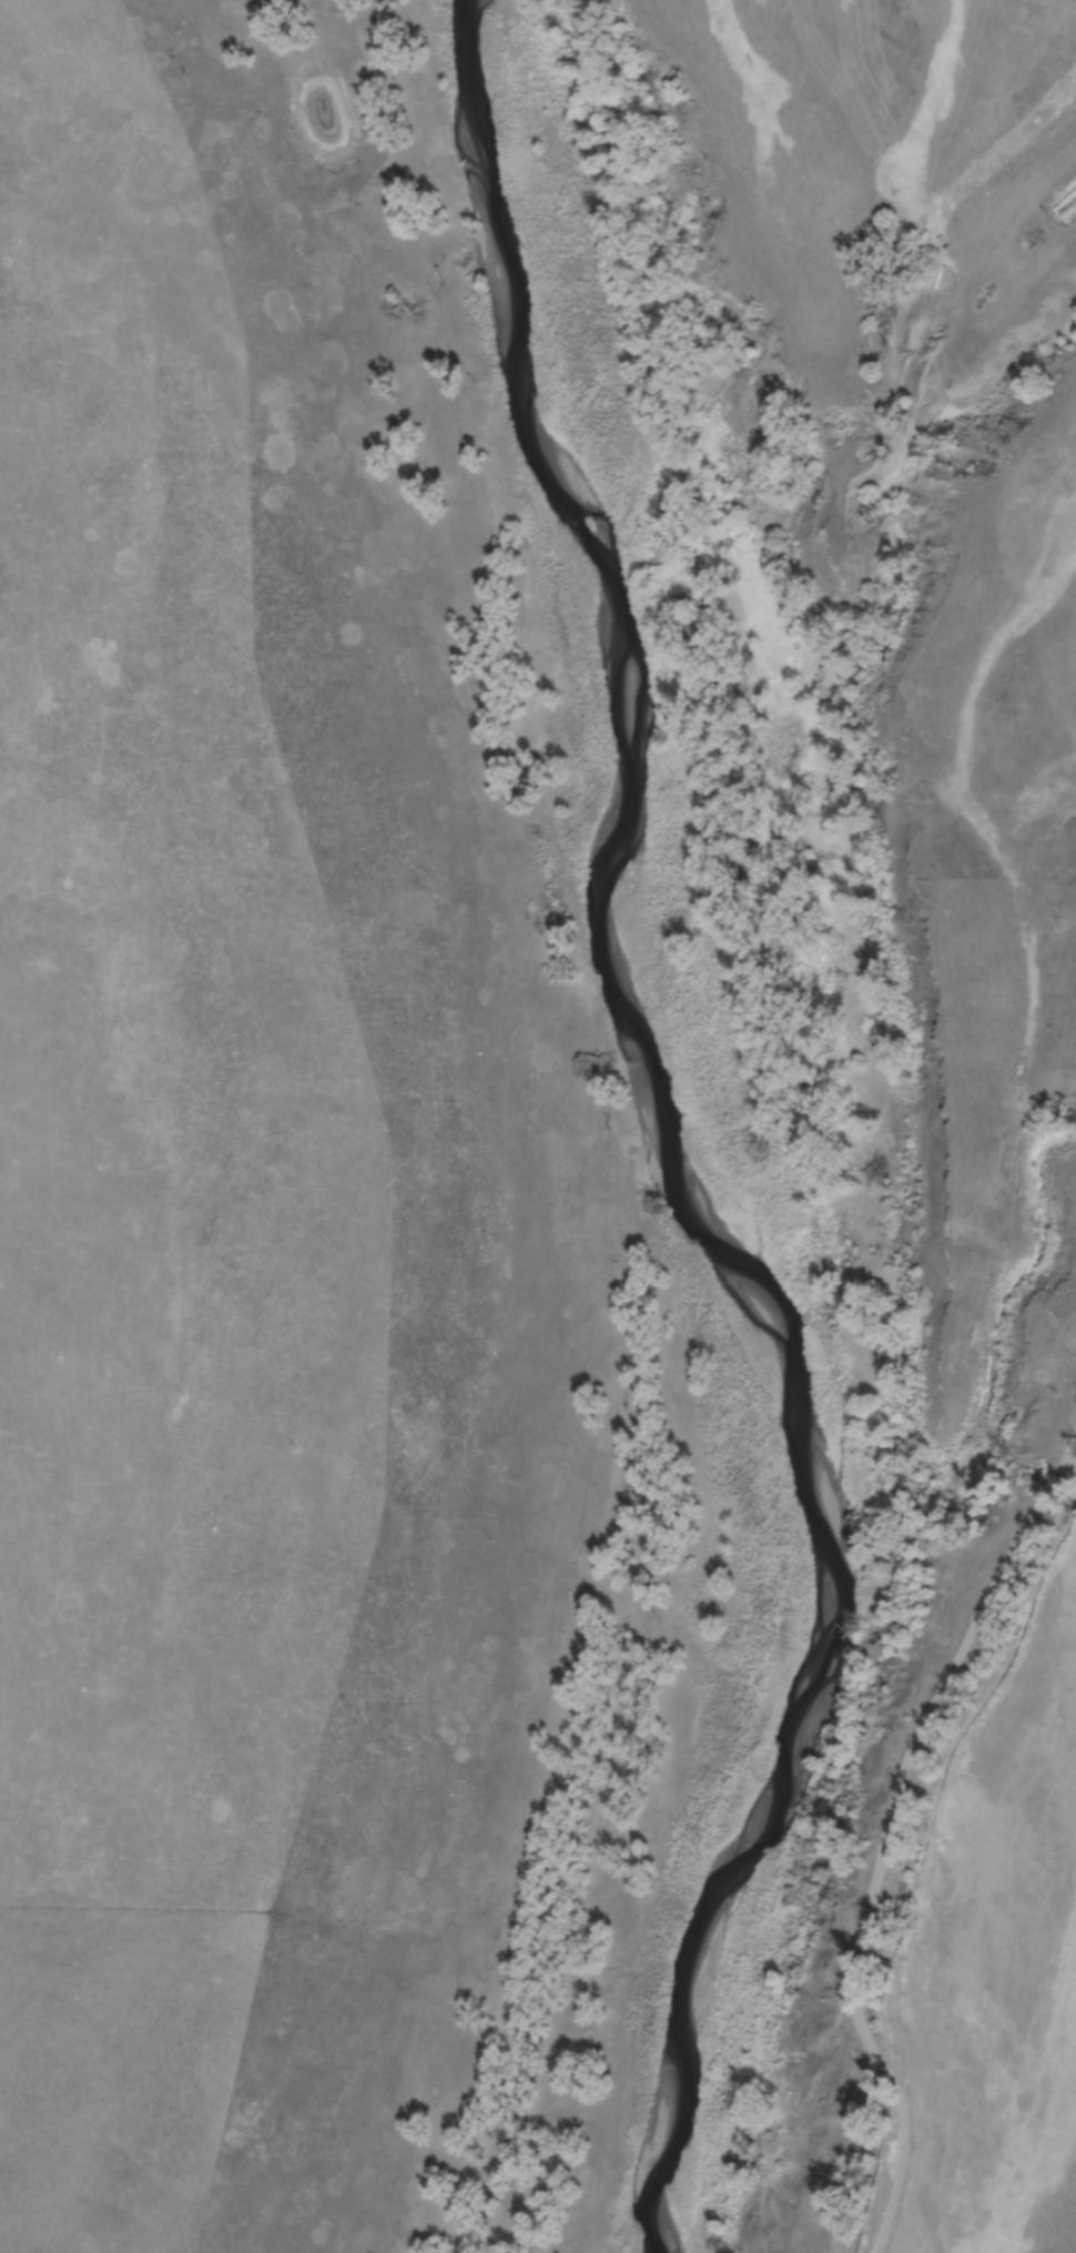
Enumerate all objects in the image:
river: (731, 1120)
road: (886, 1836)

